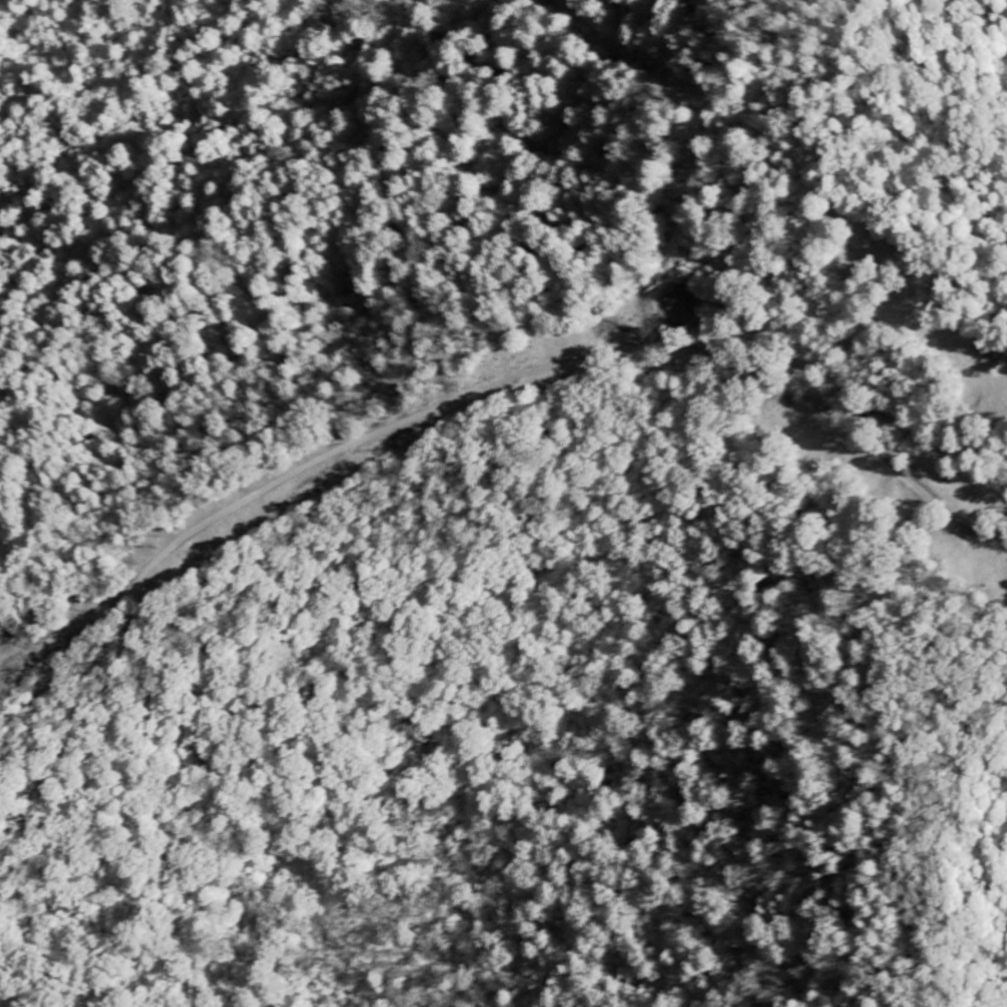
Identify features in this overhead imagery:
road: (494, 733)

